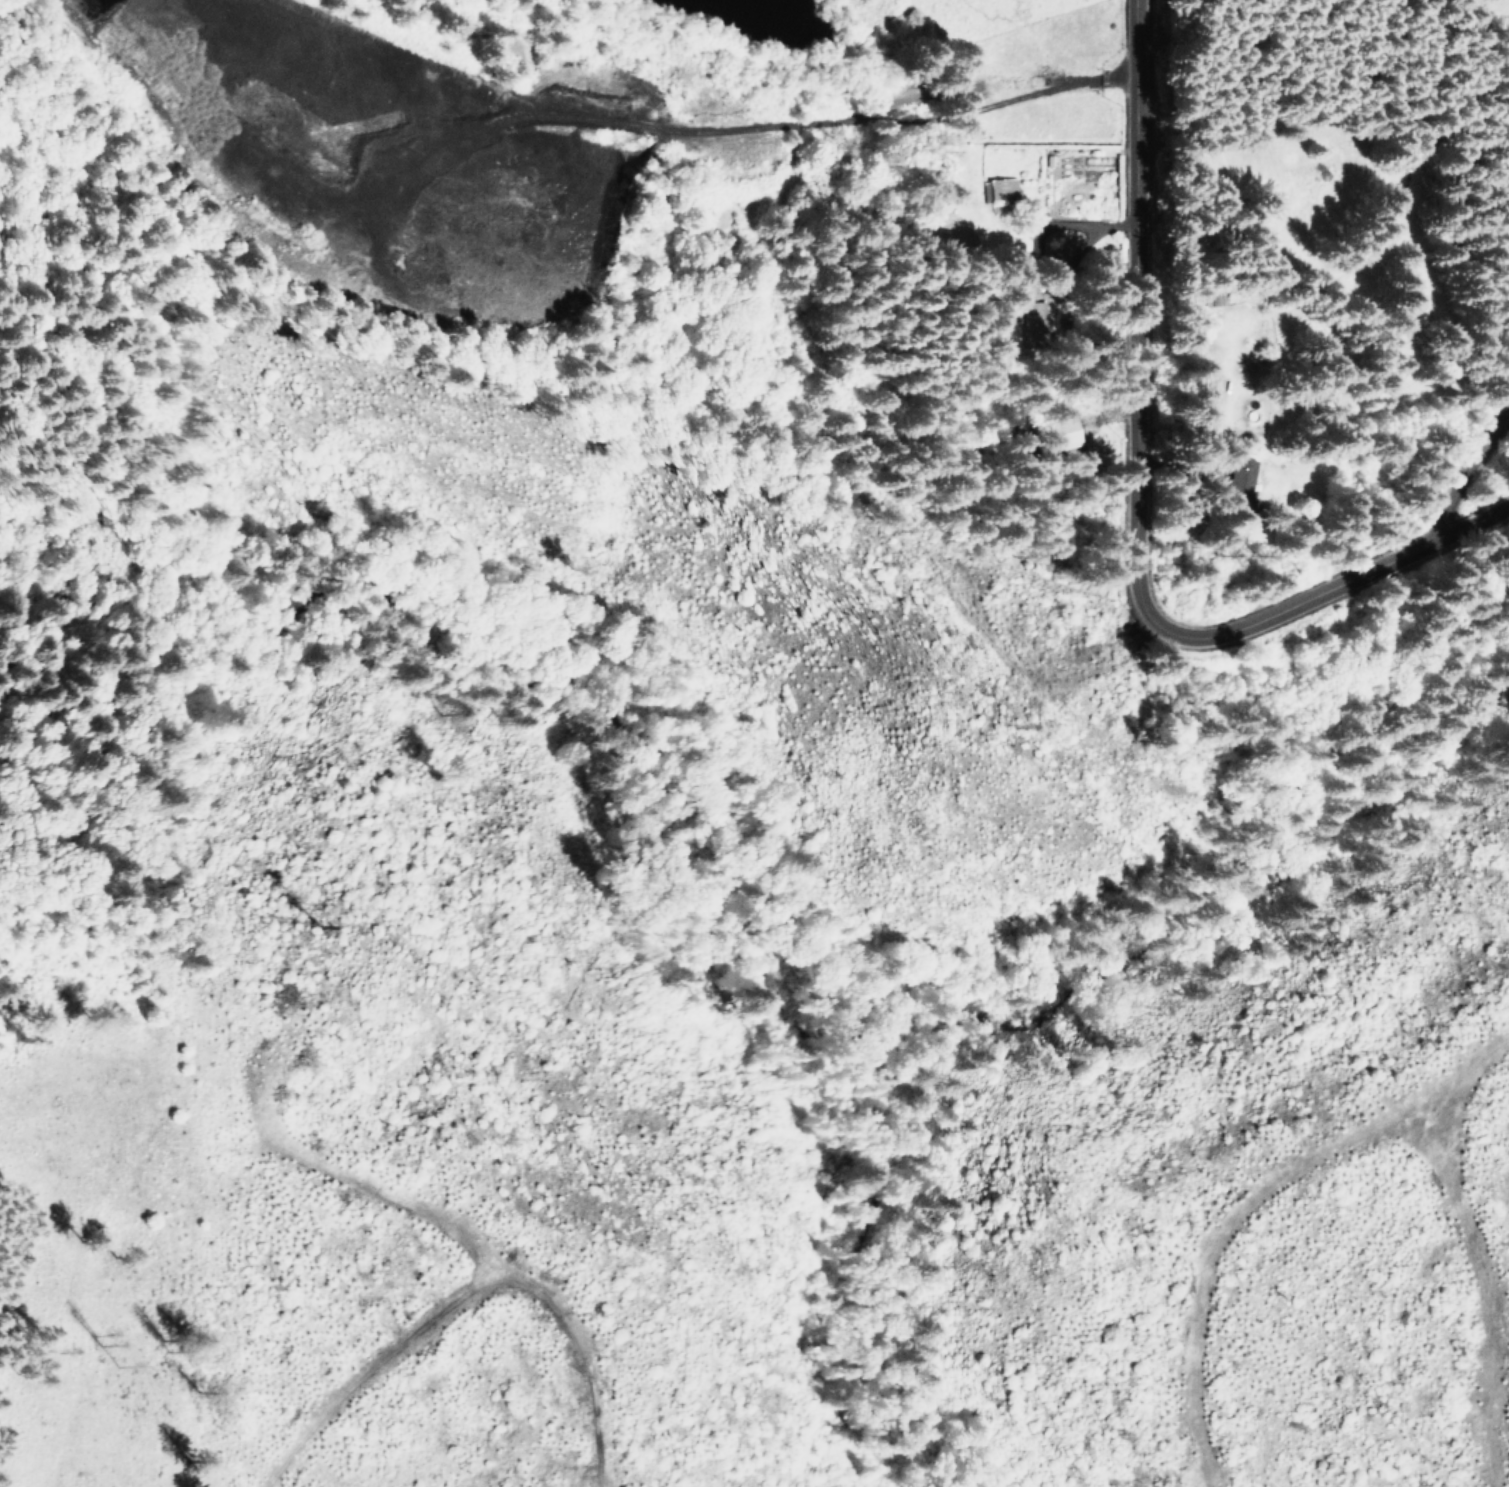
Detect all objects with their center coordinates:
road: (1461, 455)
road: (1141, 492)

